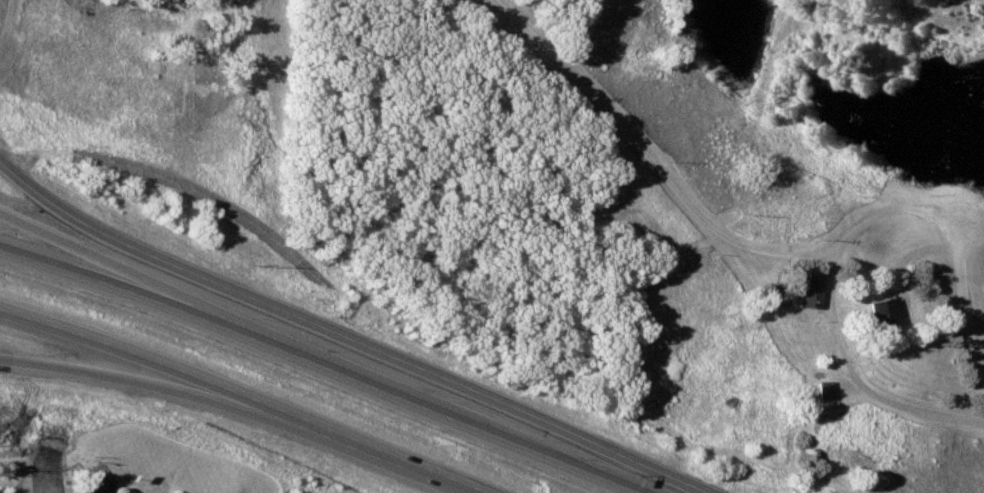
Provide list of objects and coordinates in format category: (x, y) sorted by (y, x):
building: (72, 8)
building: (71, 36)
building: (71, 77)
park: (658, 169)
dam: (932, 176)
road: (871, 180)
road: (677, 189)
road: (169, 289)
building: (802, 291)
road: (307, 313)
building: (875, 314)
road: (323, 363)
road: (856, 377)
road: (154, 383)
building: (824, 391)
road: (242, 397)
road: (669, 475)
building: (96, 486)

